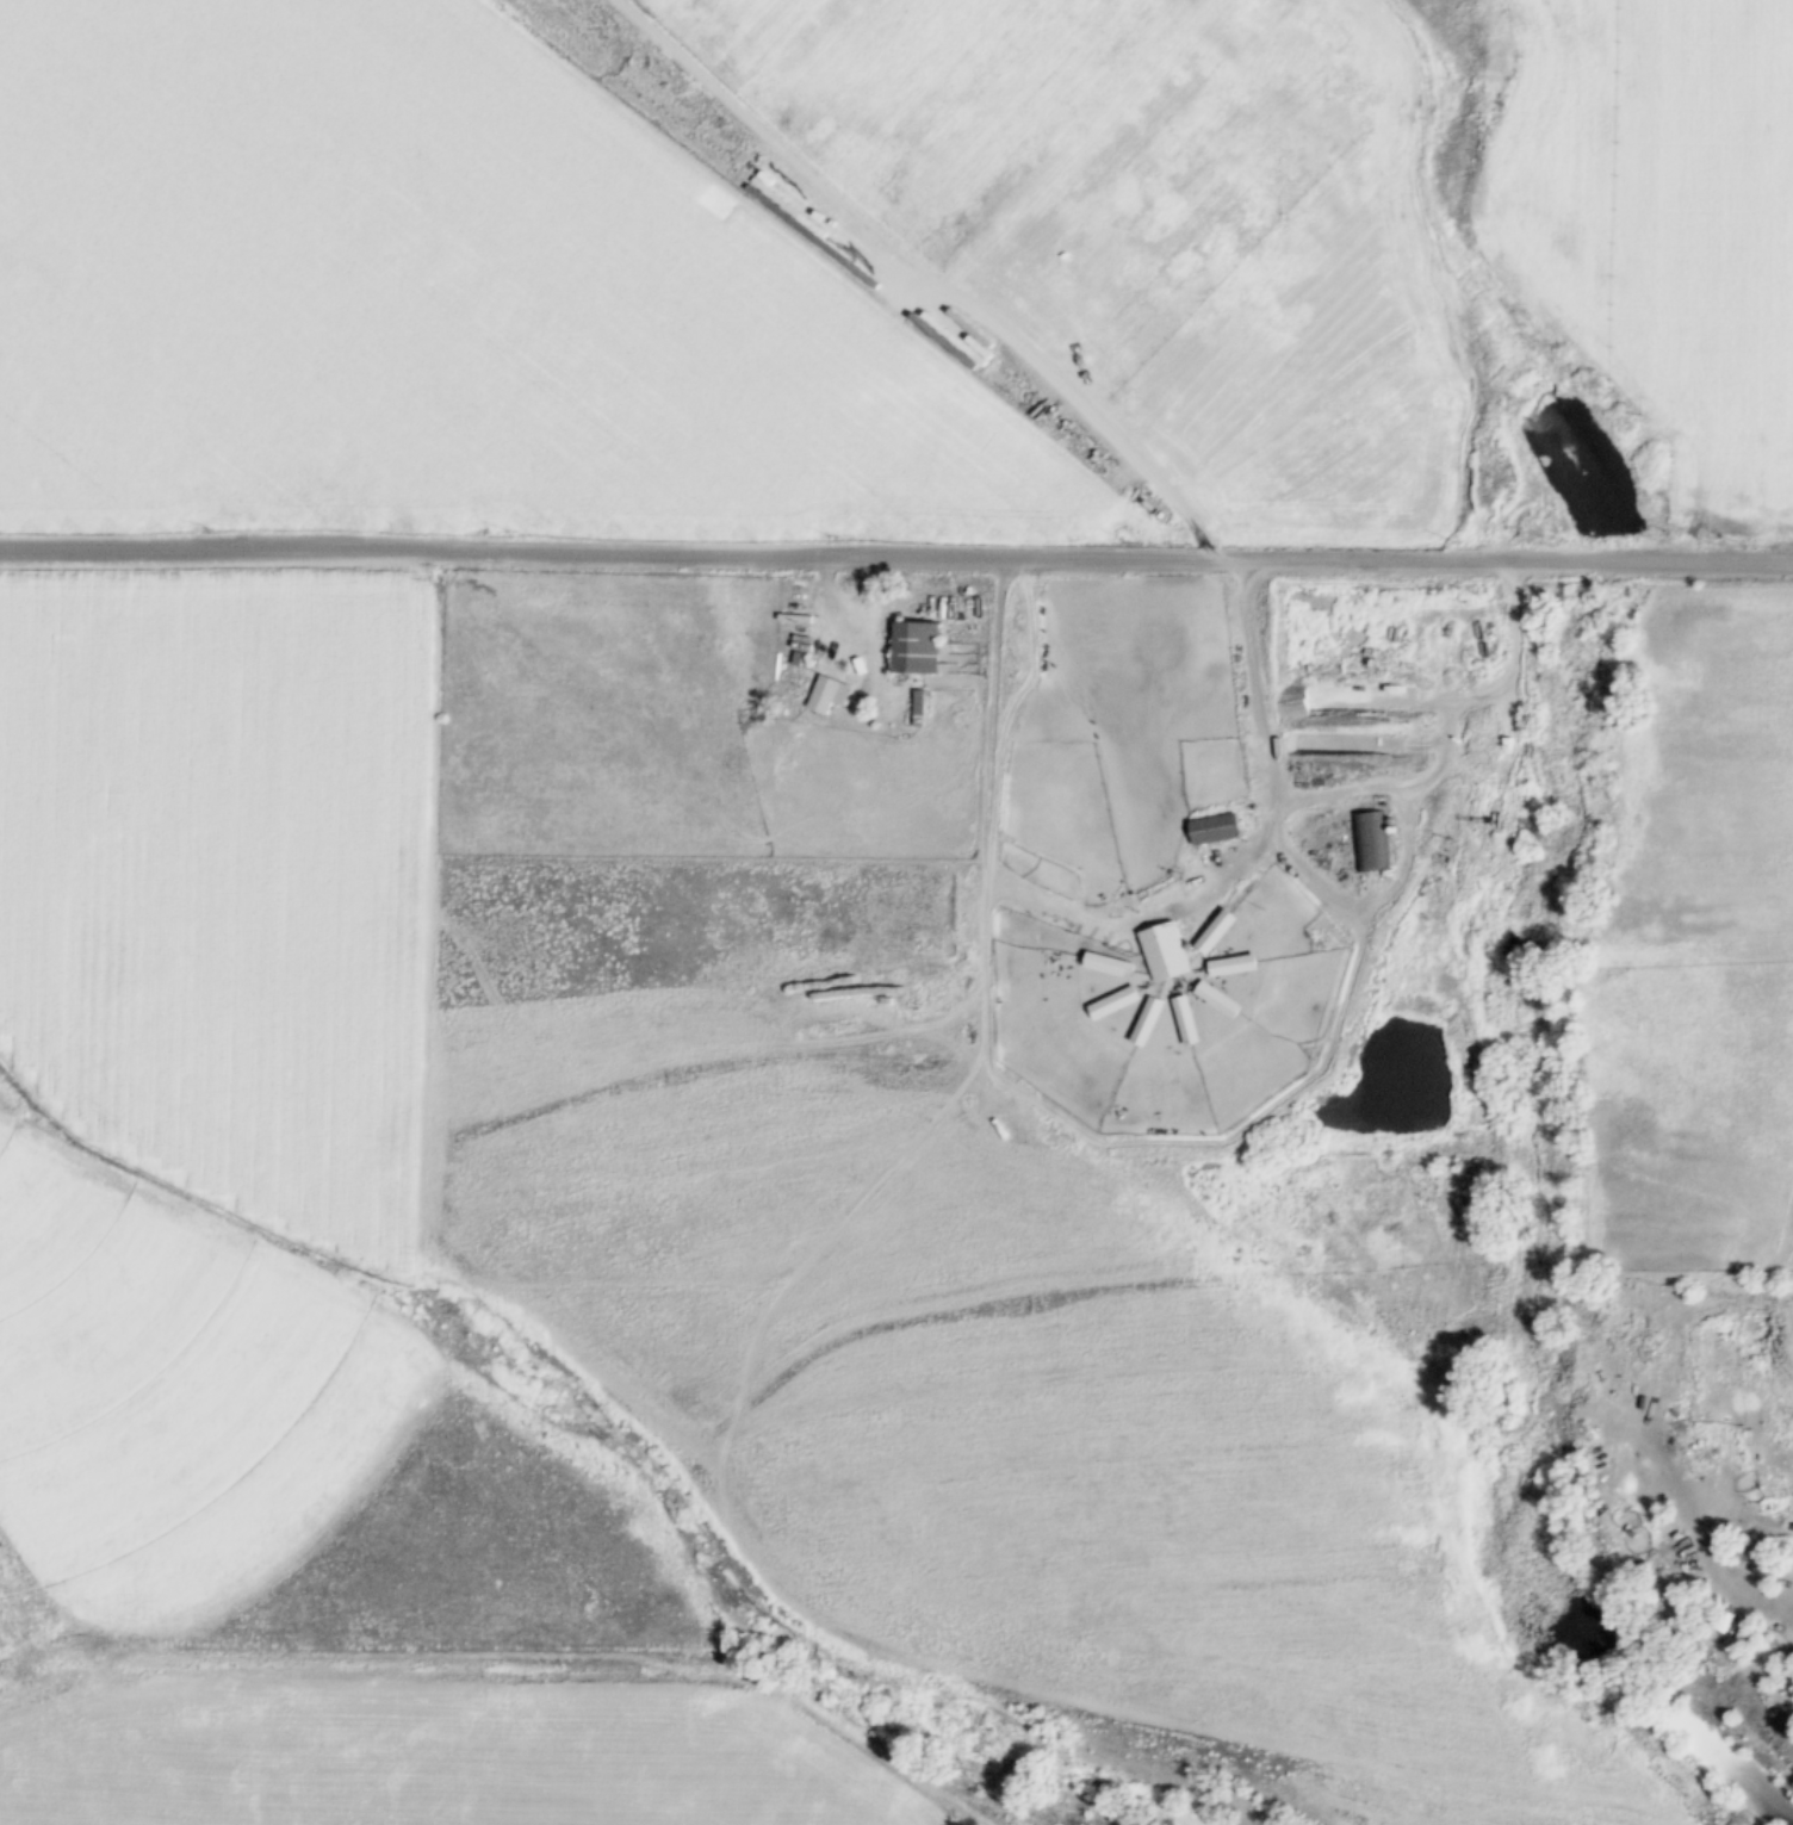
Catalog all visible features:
road: (896, 554)
road: (1007, 575)
road: (1520, 576)
road: (1466, 609)
road: (830, 615)
building: (914, 646)
building: (796, 658)
road: (1448, 669)
road: (1431, 684)
road: (1483, 691)
building: (827, 694)
road: (1369, 694)
road: (1012, 697)
building: (917, 704)
road: (1369, 741)
road: (1503, 753)
road: (1493, 801)
road: (1402, 809)
building: (1214, 828)
building: (1370, 840)
road: (1129, 919)
building: (1214, 932)
building: (1161, 951)
building: (1108, 964)
building: (1231, 966)
building: (1216, 999)
road: (891, 1000)
building: (1112, 1001)
building: (1184, 1019)
building: (1146, 1022)
road: (1178, 1140)
road: (823, 1243)
road: (1628, 1398)
road: (566, 1653)
road: (469, 1721)

